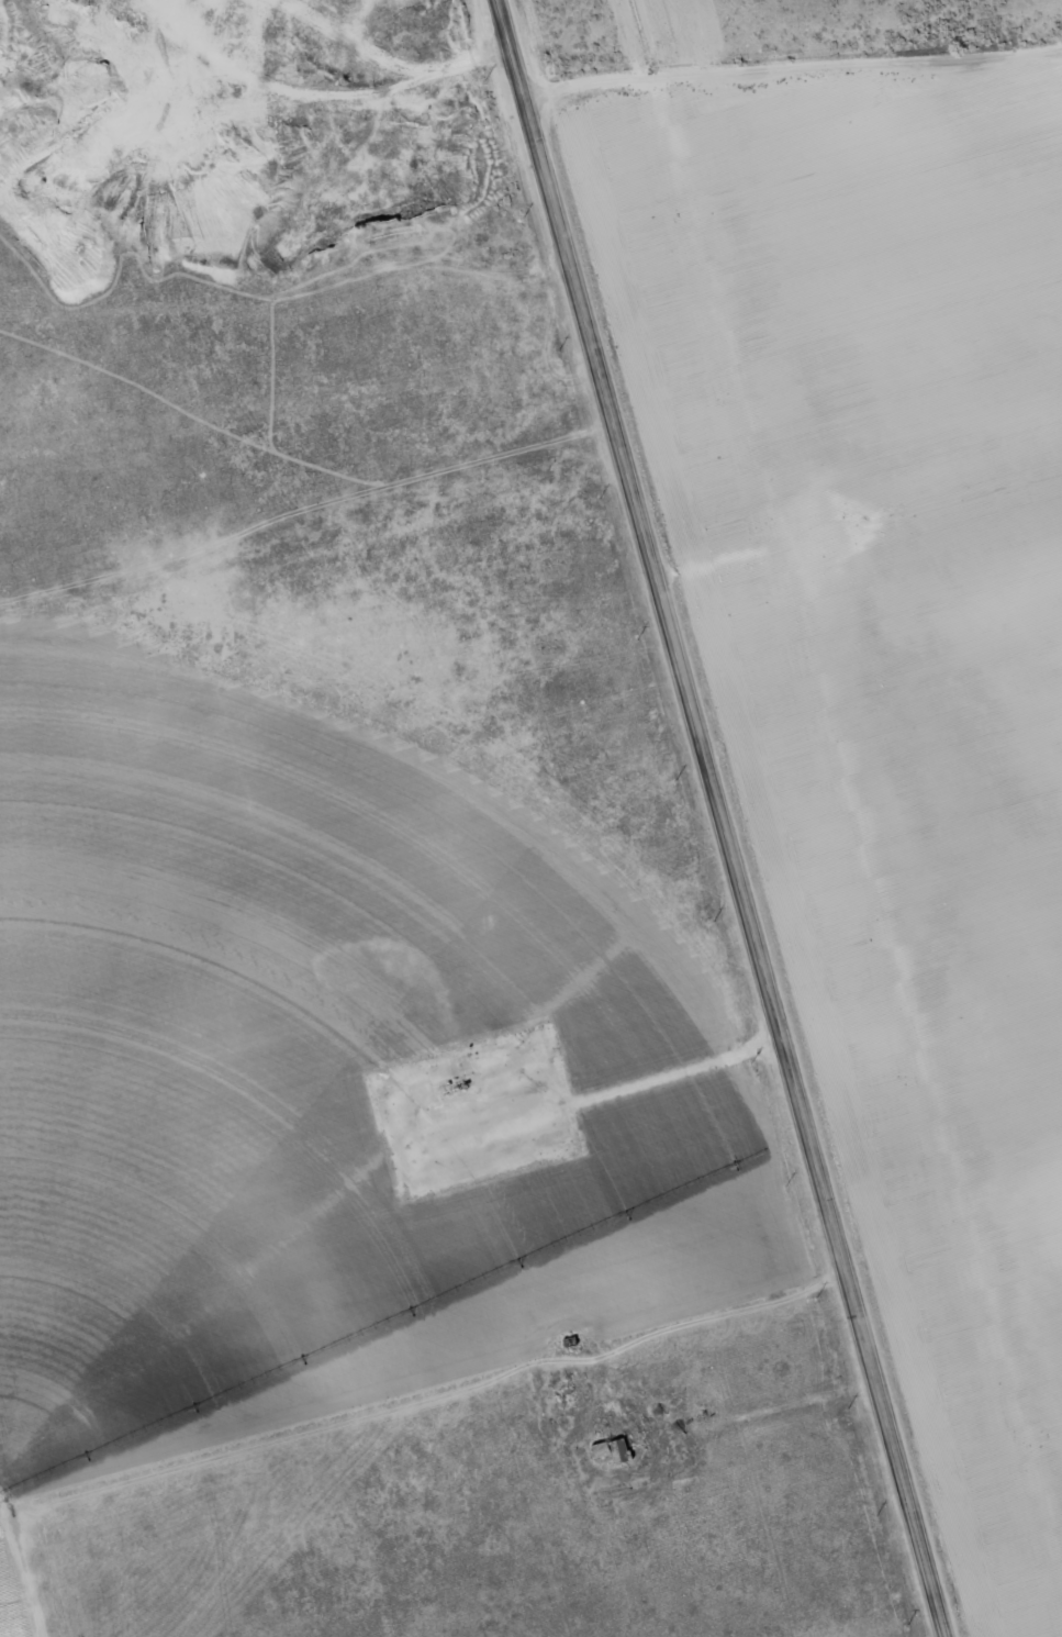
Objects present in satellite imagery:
road: (304, 510)
road: (720, 817)
petroleum well: (466, 1087)

